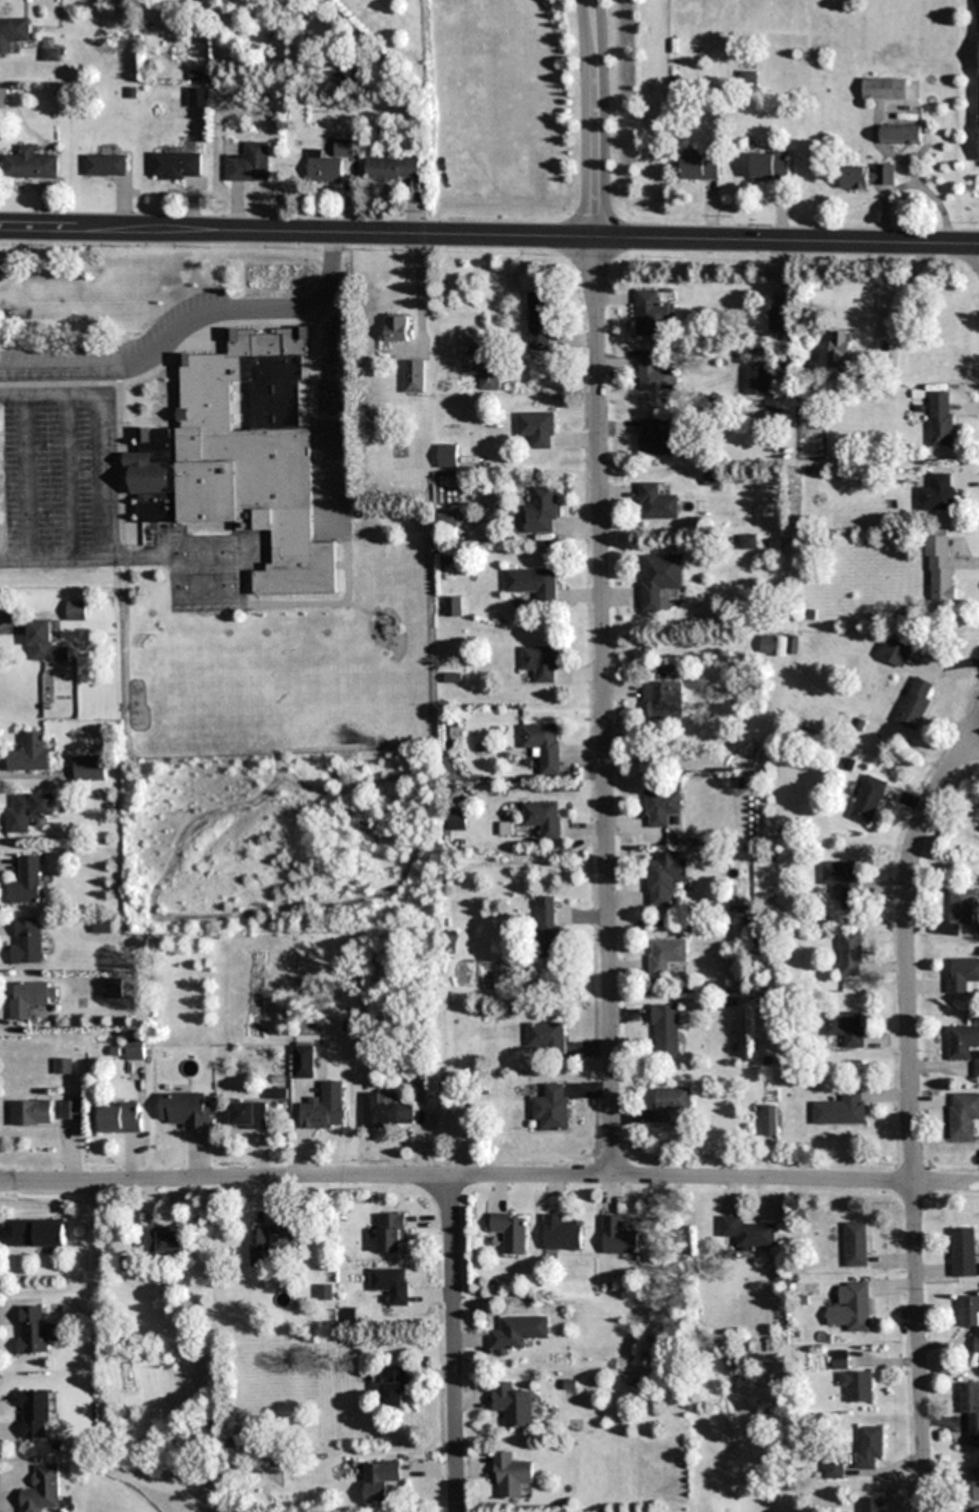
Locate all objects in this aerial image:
building: (13, 33)
building: (748, 77)
building: (884, 88)
building: (198, 97)
crop: (501, 110)
road: (591, 118)
building: (900, 134)
building: (978, 146)
building: (30, 164)
building: (251, 164)
building: (330, 164)
building: (106, 165)
building: (771, 165)
building: (177, 166)
building: (700, 167)
building: (393, 168)
building: (867, 176)
road: (489, 235)
building: (652, 314)
building: (539, 320)
building: (778, 320)
building: (396, 331)
building: (841, 350)
building: (655, 376)
building: (414, 377)
building: (493, 377)
building: (941, 418)
building: (537, 429)
building: (655, 438)
building: (447, 456)
building: (249, 468)
building: (938, 493)
building: (656, 503)
building: (541, 512)
building: (748, 541)
building: (940, 571)
building: (660, 581)
building: (534, 583)
building: (453, 606)
building: (76, 609)
building: (44, 644)
building: (774, 645)
building: (895, 651)
building: (542, 663)
building: (664, 701)
building: (916, 703)
road: (603, 706)
road: (973, 744)
building: (544, 746)
road: (334, 748)
building: (30, 753)
building: (90, 768)
building: (869, 799)
building: (662, 808)
building: (28, 810)
building: (977, 814)
building: (543, 819)
building: (456, 821)
building: (664, 879)
building: (844, 880)
building: (27, 882)
building: (962, 906)
road: (287, 907)
building: (547, 934)
building: (27, 941)
building: (851, 953)
building: (666, 955)
building: (963, 975)
building: (113, 989)
building: (31, 997)
building: (846, 1027)
building: (665, 1030)
building: (545, 1036)
building: (962, 1041)
building: (136, 1049)
building: (976, 1063)
building: (64, 1067)
building: (671, 1106)
road: (909, 1106)
building: (551, 1108)
building: (842, 1109)
building: (72, 1110)
building: (187, 1110)
building: (387, 1112)
building: (33, 1113)
building: (250, 1115)
building: (964, 1115)
building: (323, 1116)
building: (120, 1118)
building: (770, 1120)
road: (489, 1176)
building: (511, 1231)
building: (39, 1233)
building: (392, 1233)
building: (560, 1233)
building: (749, 1233)
building: (618, 1236)
building: (164, 1240)
building: (274, 1244)
building: (857, 1244)
building: (964, 1253)
building: (391, 1284)
building: (325, 1292)
building: (852, 1307)
building: (970, 1316)
building: (33, 1330)
building: (517, 1333)
road: (452, 1344)
building: (841, 1359)
building: (858, 1385)
building: (393, 1388)
building: (512, 1405)
building: (971, 1410)
building: (34, 1414)
building: (868, 1446)
building: (835, 1469)
building: (510, 1476)
building: (379, 1481)
building: (970, 1485)
building: (41, 1489)
building: (872, 1504)
building: (976, 1509)

